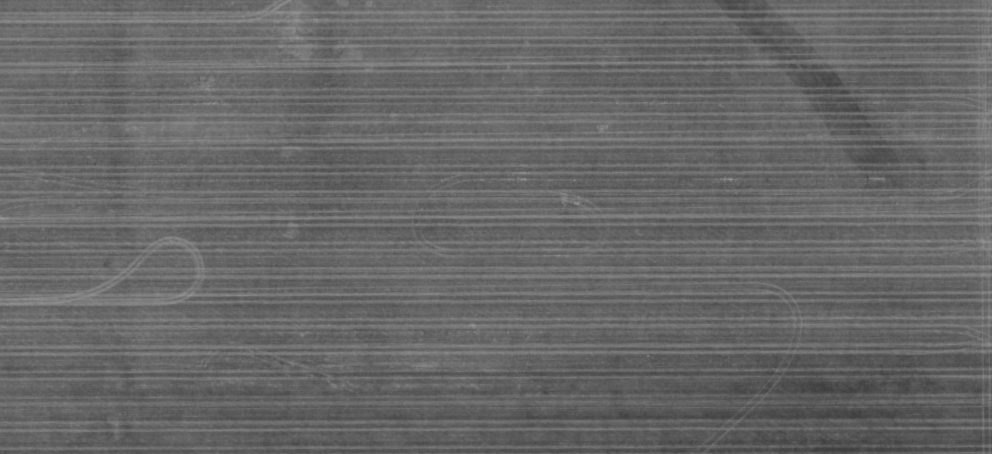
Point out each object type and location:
road: (528, 449)

